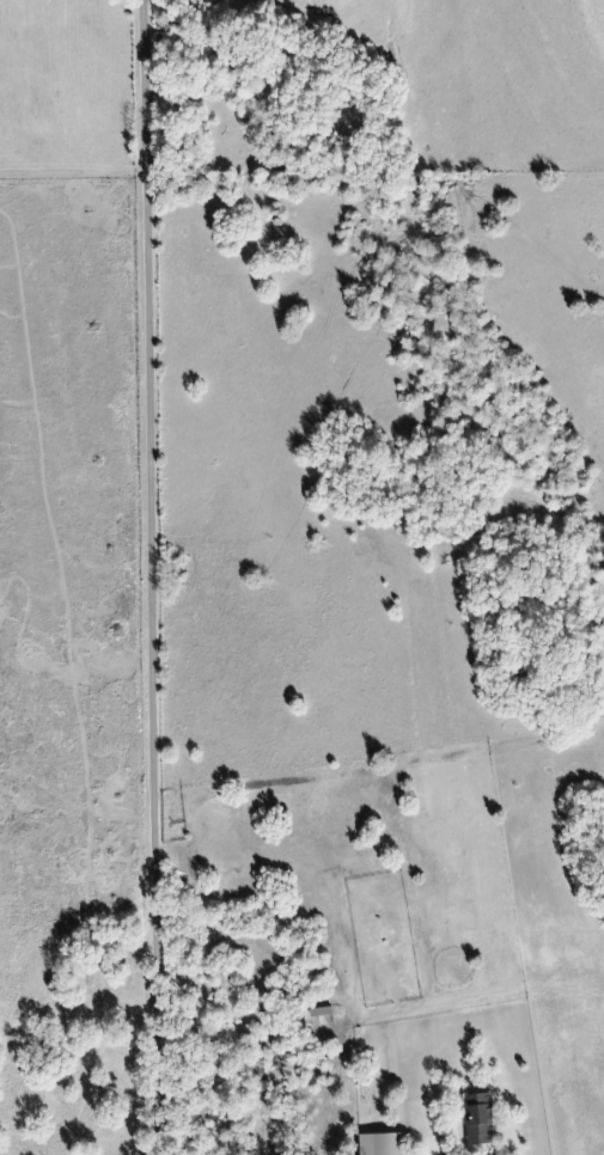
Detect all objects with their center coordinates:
road: (154, 576)
building: (475, 1118)
building: (379, 1143)

